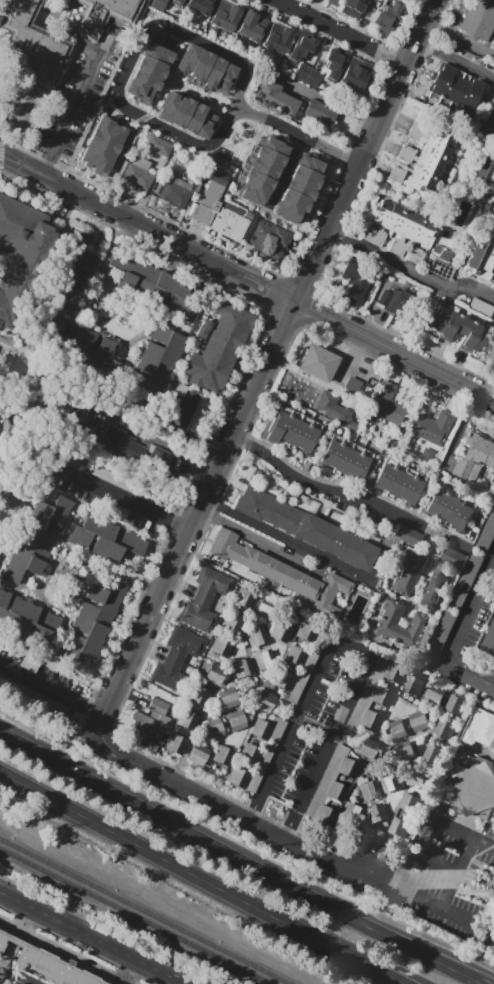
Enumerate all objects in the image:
building: (387, 0)
building: (176, 2)
building: (333, 2)
building: (158, 4)
building: (199, 7)
building: (351, 8)
building: (104, 16)
building: (224, 16)
road: (456, 16)
building: (387, 18)
building: (479, 20)
building: (252, 26)
road: (329, 28)
building: (162, 36)
road: (459, 38)
building: (277, 40)
road: (490, 43)
building: (493, 44)
building: (34, 45)
building: (300, 49)
road: (177, 56)
road: (133, 60)
road: (454, 60)
road: (393, 61)
building: (334, 62)
building: (207, 67)
building: (148, 72)
building: (307, 75)
building: (357, 75)
road: (182, 78)
road: (175, 81)
road: (188, 81)
building: (438, 81)
road: (200, 87)
building: (449, 87)
road: (181, 90)
road: (186, 93)
building: (459, 93)
road: (217, 95)
road: (198, 98)
building: (275, 98)
building: (471, 98)
road: (327, 100)
road: (74, 105)
road: (215, 106)
road: (230, 108)
road: (236, 110)
building: (321, 112)
road: (253, 114)
building: (489, 115)
building: (190, 116)
road: (237, 116)
building: (419, 125)
building: (493, 128)
road: (293, 133)
building: (110, 134)
road: (277, 135)
building: (414, 135)
building: (439, 135)
road: (258, 140)
building: (158, 146)
road: (0, 148)
building: (436, 148)
road: (363, 150)
building: (408, 150)
building: (94, 152)
road: (124, 152)
road: (338, 154)
road: (233, 155)
building: (404, 157)
building: (430, 158)
building: (108, 159)
road: (244, 159)
road: (52, 165)
building: (311, 165)
building: (425, 169)
building: (264, 171)
road: (286, 173)
building: (484, 173)
building: (395, 174)
road: (330, 175)
building: (305, 176)
building: (136, 177)
building: (415, 180)
road: (326, 182)
building: (300, 188)
road: (483, 189)
building: (174, 191)
road: (321, 194)
building: (294, 200)
road: (315, 206)
building: (220, 207)
building: (289, 212)
road: (309, 220)
road: (146, 228)
building: (398, 228)
road: (311, 230)
building: (16, 231)
road: (340, 236)
building: (269, 239)
road: (107, 250)
building: (482, 256)
building: (441, 264)
road: (409, 270)
building: (72, 272)
building: (356, 280)
building: (155, 286)
road: (299, 287)
road: (35, 288)
road: (91, 288)
road: (271, 290)
road: (114, 297)
building: (390, 298)
building: (480, 308)
building: (8, 309)
road: (316, 313)
road: (284, 316)
road: (156, 319)
building: (444, 323)
road: (10, 329)
building: (471, 336)
road: (119, 339)
road: (10, 341)
building: (79, 345)
building: (217, 347)
road: (393, 350)
road: (184, 351)
road: (5, 354)
road: (349, 360)
building: (156, 361)
building: (320, 363)
road: (63, 368)
building: (352, 386)
road: (235, 394)
road: (34, 398)
building: (386, 404)
building: (332, 407)
building: (199, 413)
road: (28, 416)
road: (128, 416)
building: (293, 430)
road: (459, 430)
building: (431, 432)
road: (179, 435)
building: (117, 441)
road: (160, 442)
road: (33, 447)
building: (344, 459)
building: (476, 464)
road: (234, 465)
building: (399, 482)
building: (127, 486)
road: (323, 486)
road: (207, 489)
road: (123, 499)
building: (449, 508)
building: (116, 512)
road: (0, 526)
building: (306, 528)
road: (62, 532)
building: (487, 534)
building: (408, 535)
building: (38, 538)
building: (104, 539)
road: (287, 539)
road: (64, 540)
road: (259, 542)
road: (1, 551)
building: (454, 557)
road: (50, 563)
road: (104, 566)
building: (283, 574)
building: (406, 574)
road: (77, 577)
building: (211, 583)
building: (433, 586)
road: (40, 595)
road: (69, 597)
building: (244, 599)
building: (455, 604)
road: (469, 607)
building: (265, 609)
building: (197, 613)
building: (27, 619)
building: (93, 620)
building: (233, 623)
building: (399, 626)
building: (280, 632)
building: (306, 632)
building: (256, 636)
building: (490, 642)
building: (183, 644)
building: (221, 646)
road: (234, 646)
road: (351, 648)
road: (285, 650)
building: (295, 656)
road: (251, 658)
building: (261, 660)
road: (49, 663)
building: (242, 667)
building: (304, 668)
road: (37, 669)
building: (392, 672)
building: (214, 673)
building: (169, 675)
building: (479, 677)
building: (283, 680)
road: (240, 685)
building: (414, 685)
building: (14, 686)
road: (51, 689)
road: (250, 691)
building: (365, 695)
building: (436, 695)
building: (199, 696)
building: (381, 696)
building: (227, 698)
building: (264, 701)
road: (390, 702)
building: (49, 704)
building: (457, 704)
road: (106, 709)
road: (224, 713)
building: (188, 720)
building: (370, 720)
building: (420, 720)
building: (150, 721)
building: (235, 721)
parking lot: (314, 728)
building: (480, 728)
building: (212, 729)
building: (261, 729)
building: (313, 729)
building: (398, 729)
road: (433, 729)
building: (446, 730)
road: (375, 738)
road: (408, 738)
building: (176, 744)
building: (367, 748)
building: (406, 751)
road: (116, 753)
road: (237, 753)
building: (434, 753)
building: (198, 754)
building: (249, 754)
building: (265, 755)
building: (223, 756)
road: (391, 763)
building: (347, 767)
building: (238, 777)
building: (418, 777)
building: (326, 780)
building: (391, 781)
road: (196, 782)
building: (476, 788)
building: (369, 790)
building: (336, 791)
road: (382, 791)
building: (412, 802)
road: (343, 805)
building: (353, 812)
building: (377, 812)
building: (324, 815)
road: (267, 819)
road: (250, 820)
building: (401, 826)
road: (464, 832)
road: (245, 847)
road: (351, 847)
road: (242, 859)
road: (395, 863)
road: (435, 863)
road: (482, 868)
road: (191, 870)
parking lot: (441, 871)
road: (454, 871)
road: (469, 893)
road: (416, 896)
railway: (145, 911)
railway: (136, 914)
road: (25, 918)
road: (92, 937)
road: (64, 952)
building: (40, 964)
road: (129, 970)
road: (397, 976)
building: (8, 983)

